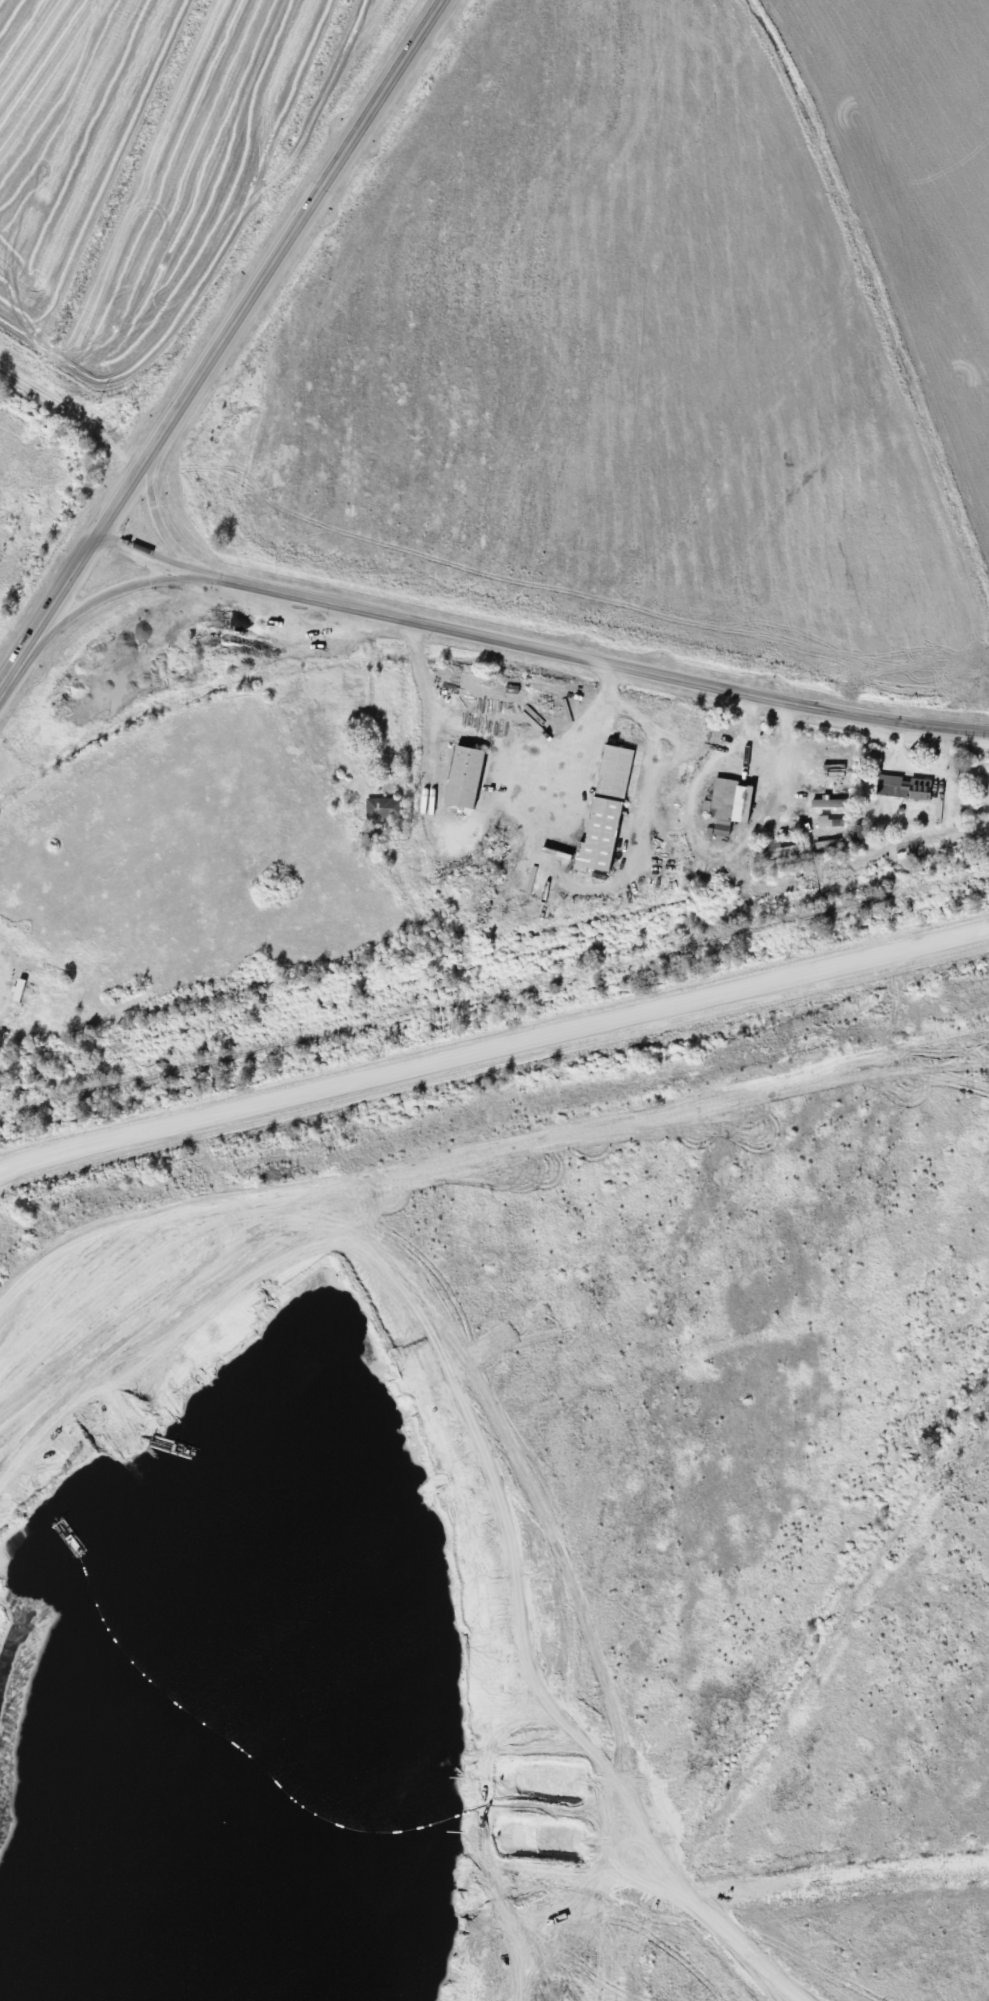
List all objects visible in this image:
road: (403, 51)
road: (263, 271)
road: (125, 486)
road: (157, 515)
road: (149, 555)
road: (56, 594)
road: (101, 595)
road: (594, 656)
road: (8, 667)
building: (470, 777)
building: (908, 787)
building: (832, 803)
building: (746, 805)
building: (725, 806)
building: (387, 809)
building: (610, 810)
building: (861, 832)
building: (784, 852)
building: (21, 990)
railway: (494, 993)
road: (494, 1049)
road: (788, 1694)

